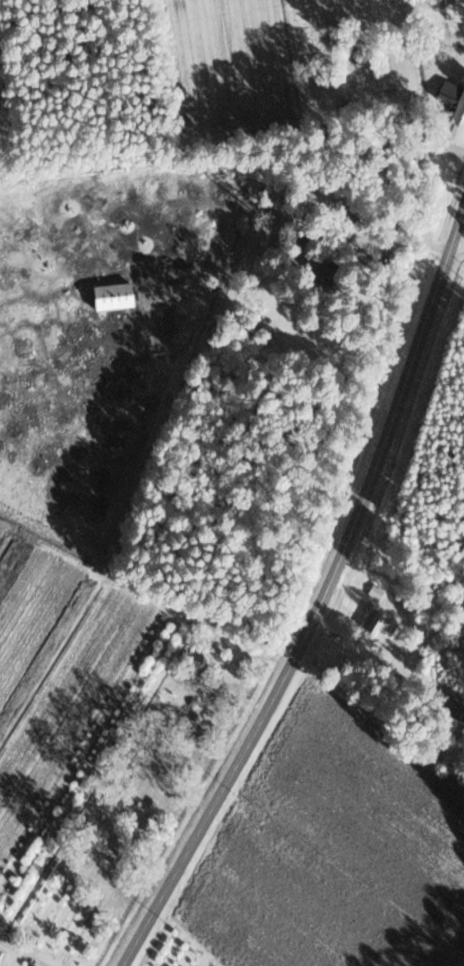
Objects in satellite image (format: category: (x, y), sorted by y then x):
building: (451, 100)
road: (460, 234)
building: (111, 297)
building: (374, 592)
road: (320, 599)
building: (381, 624)
road: (365, 661)
road: (25, 951)

